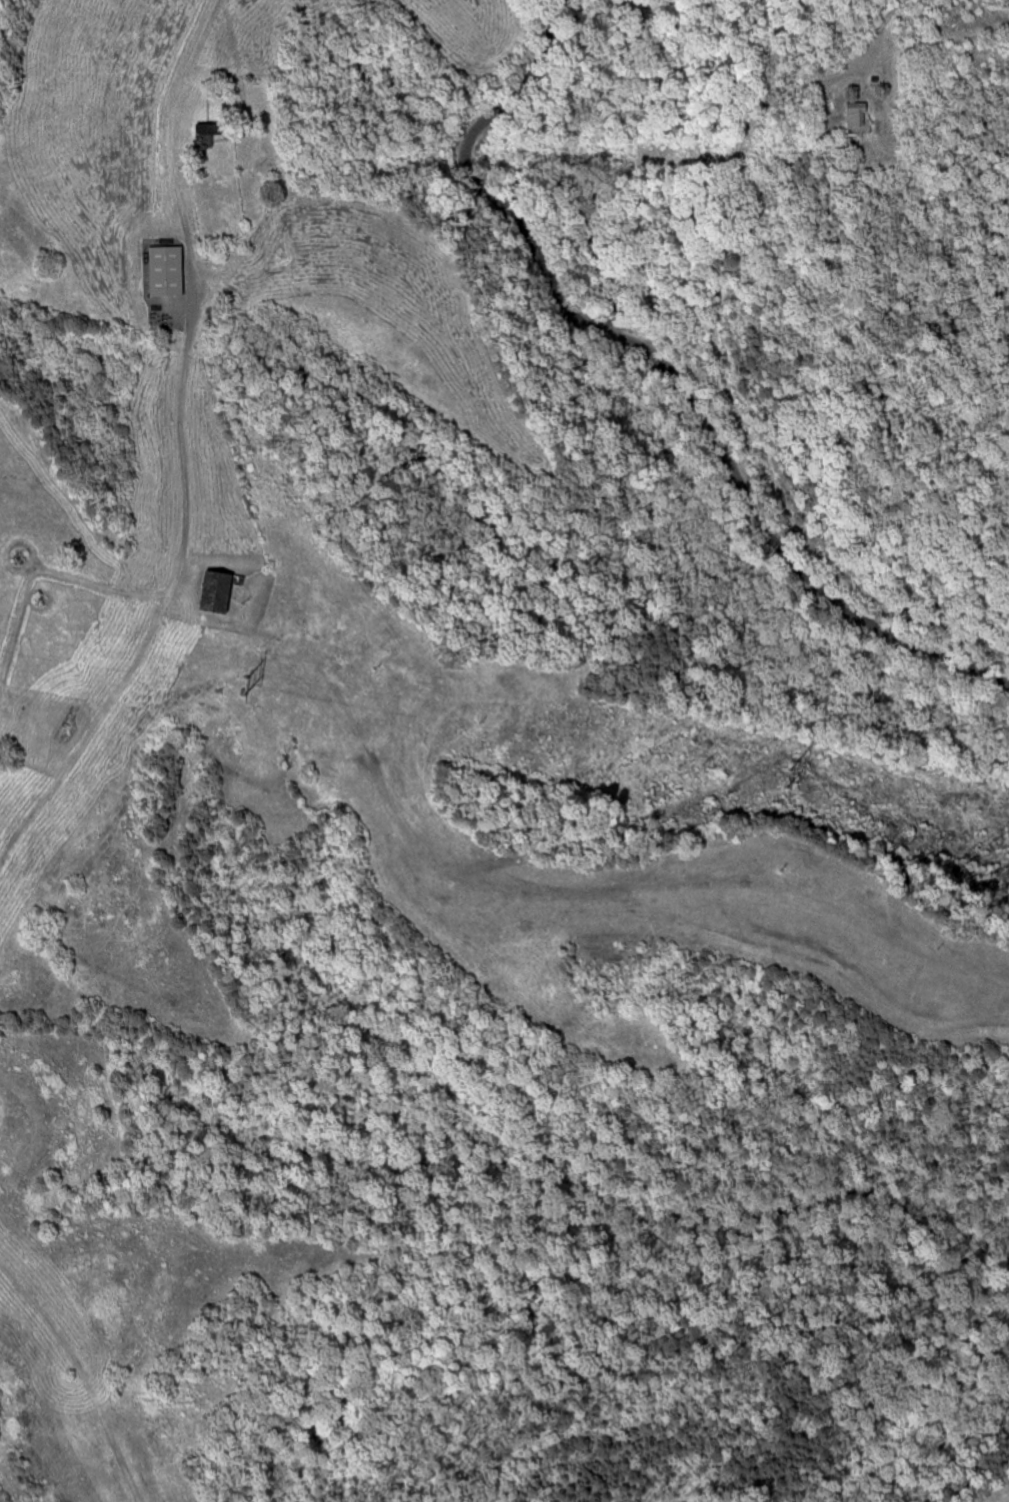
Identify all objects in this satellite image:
building: (860, 118)
road: (713, 207)
building: (170, 272)
road: (664, 364)
road: (182, 448)
building: (221, 594)
power tower: (248, 682)
power tower: (790, 773)
road: (91, 1353)

